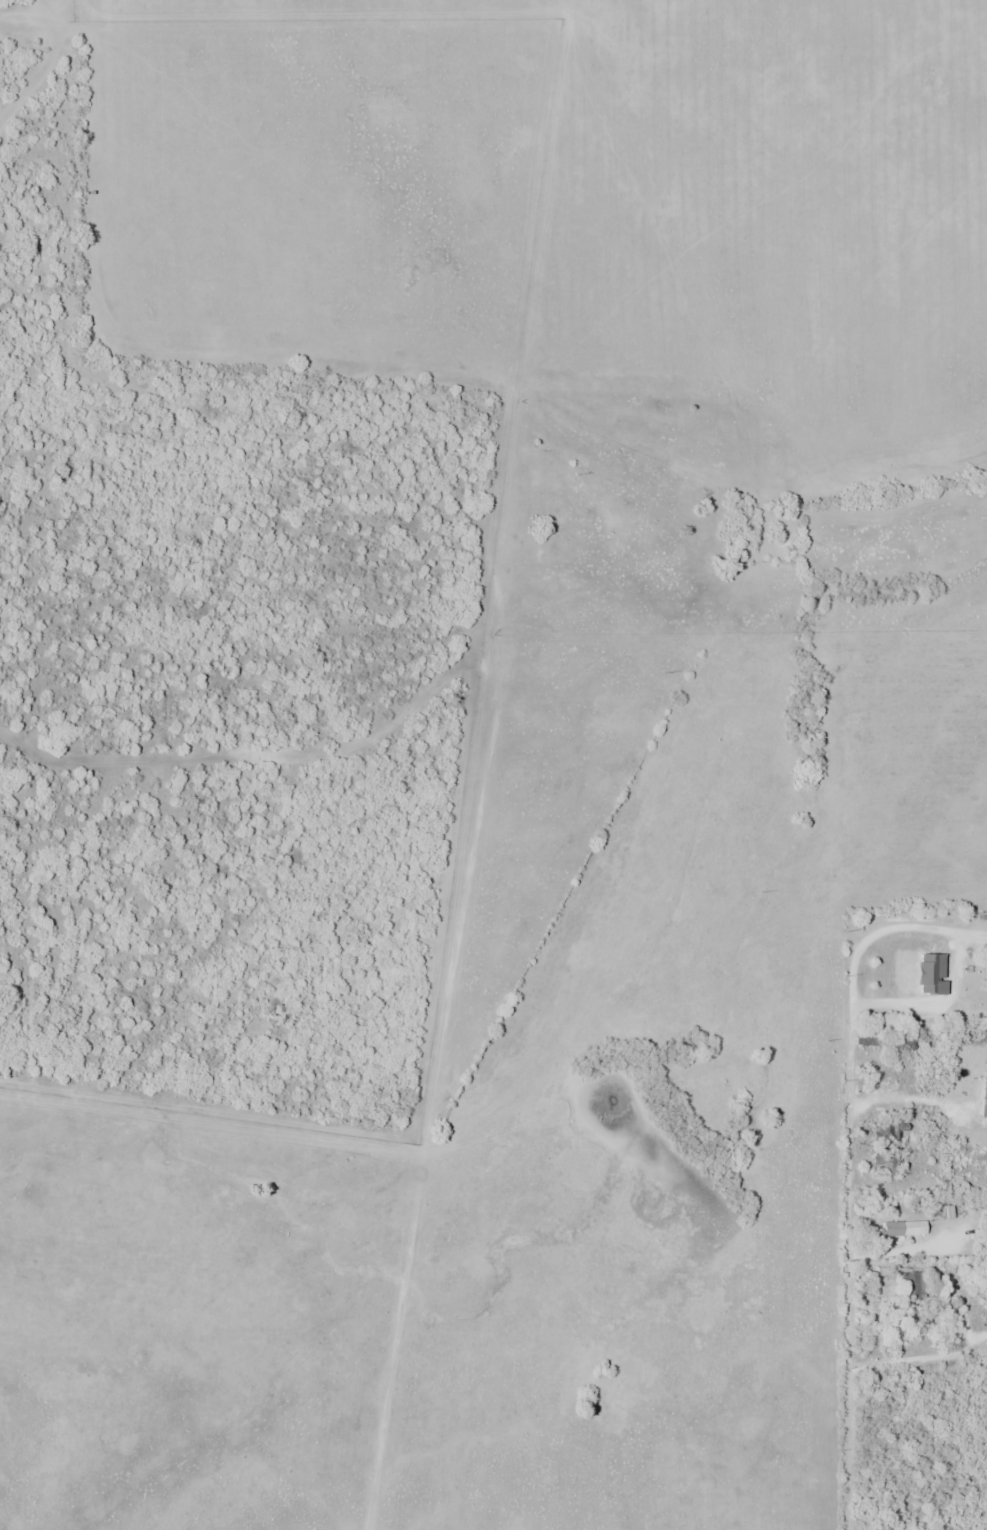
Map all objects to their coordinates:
building: (985, 967)
building: (960, 978)
building: (984, 1100)
building: (883, 1159)
building: (903, 1228)
road: (850, 1271)
building: (910, 1286)

